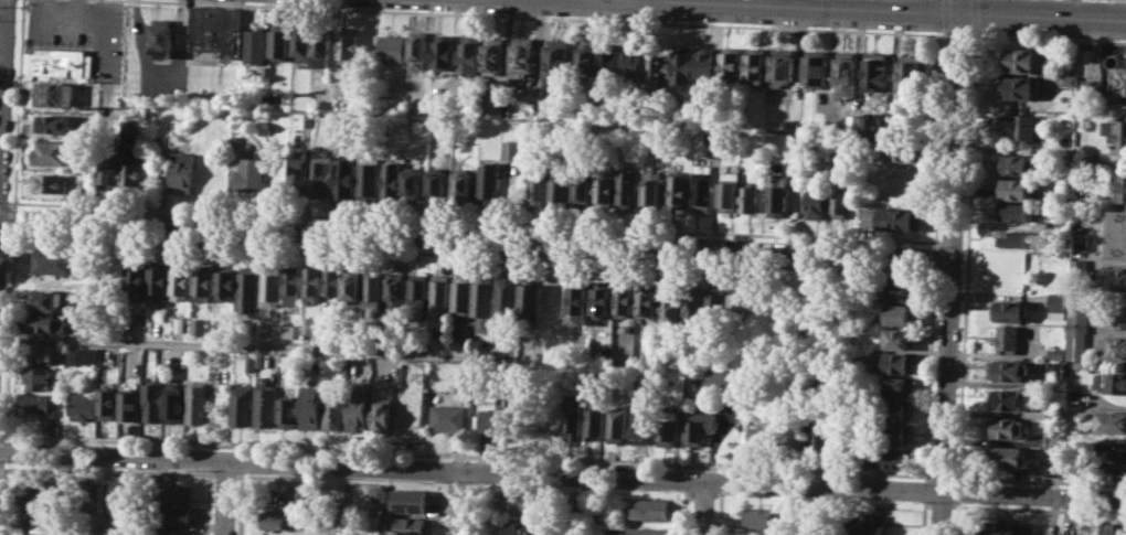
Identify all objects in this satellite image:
road: (786, 3)
road: (959, 8)
road: (889, 11)
road: (944, 14)
road: (974, 14)
road: (549, 17)
parking lot: (62, 24)
building: (215, 29)
road: (962, 34)
building: (111, 35)
building: (161, 36)
road: (1050, 38)
building: (279, 40)
building: (300, 43)
building: (253, 44)
building: (321, 44)
building: (346, 44)
building: (390, 49)
building: (417, 49)
building: (444, 50)
building: (469, 54)
building: (495, 55)
building: (523, 56)
building: (587, 58)
building: (1021, 58)
building: (610, 60)
building: (559, 61)
building: (62, 62)
building: (635, 62)
building: (708, 63)
building: (732, 64)
building: (756, 64)
building: (784, 65)
road: (2, 66)
building: (684, 66)
building: (818, 68)
building: (660, 71)
building: (877, 72)
building: (910, 72)
building: (847, 73)
building: (99, 74)
building: (1070, 79)
building: (1123, 79)
building: (1020, 86)
road: (3, 87)
building: (1094, 88)
building: (56, 94)
building: (425, 107)
building: (492, 107)
building: (550, 110)
building: (305, 120)
building: (853, 124)
building: (56, 125)
building: (871, 125)
building: (1021, 127)
building: (1117, 133)
building: (235, 139)
road: (938, 139)
building: (511, 149)
building: (904, 151)
building: (55, 153)
building: (1087, 163)
building: (131, 164)
building: (1017, 164)
building: (297, 170)
building: (180, 171)
building: (108, 173)
building: (248, 173)
building: (320, 175)
building: (344, 176)
building: (368, 178)
building: (392, 180)
building: (488, 181)
building: (560, 182)
building: (55, 183)
building: (413, 183)
building: (437, 183)
building: (461, 184)
building: (900, 184)
building: (583, 185)
building: (537, 186)
building: (605, 186)
building: (703, 186)
building: (1120, 188)
building: (627, 189)
building: (654, 190)
building: (1019, 190)
building: (679, 191)
building: (730, 191)
building: (1087, 192)
building: (777, 193)
building: (750, 196)
building: (840, 199)
road: (2, 202)
building: (816, 202)
building: (1013, 212)
building: (899, 218)
road: (469, 222)
road: (2, 233)
building: (1118, 234)
road: (476, 235)
building: (1013, 238)
building: (900, 255)
road: (966, 256)
road: (572, 258)
road: (934, 258)
building: (52, 261)
road: (934, 271)
road: (952, 275)
building: (115, 278)
building: (136, 278)
building: (1112, 278)
building: (159, 279)
building: (182, 280)
building: (332, 281)
building: (204, 282)
building: (291, 283)
building: (312, 283)
building: (226, 285)
building: (270, 286)
building: (352, 286)
building: (248, 288)
building: (373, 290)
building: (899, 290)
building: (417, 292)
building: (463, 293)
building: (394, 295)
building: (554, 295)
building: (508, 296)
building: (439, 297)
building: (531, 297)
building: (45, 299)
building: (604, 299)
building: (485, 300)
building: (625, 300)
building: (647, 300)
building: (578, 302)
building: (693, 302)
building: (671, 304)
building: (716, 304)
building: (737, 304)
building: (1058, 306)
building: (1009, 310)
building: (900, 313)
building: (1080, 317)
building: (1118, 317)
building: (45, 321)
building: (83, 321)
building: (199, 325)
building: (311, 325)
building: (264, 328)
building: (289, 331)
building: (466, 335)
building: (899, 338)
building: (1008, 339)
road: (254, 345)
building: (1113, 345)
building: (1079, 346)
building: (43, 352)
building: (1056, 353)
building: (88, 355)
building: (249, 362)
building: (261, 362)
building: (900, 363)
building: (1009, 368)
building: (1058, 368)
building: (274, 372)
building: (38, 376)
building: (720, 382)
building: (1114, 382)
building: (899, 386)
building: (155, 398)
building: (1009, 398)
building: (198, 402)
building: (40, 403)
building: (176, 403)
building: (266, 403)
building: (109, 404)
building: (242, 404)
building: (130, 405)
building: (84, 406)
building: (310, 407)
building: (334, 409)
building: (359, 409)
building: (897, 410)
building: (288, 411)
building: (382, 414)
building: (573, 416)
building: (447, 417)
building: (496, 419)
building: (595, 421)
building: (618, 421)
building: (1111, 421)
building: (641, 422)
building: (668, 426)
building: (699, 426)
building: (1008, 428)
building: (896, 434)
building: (797, 438)
building: (820, 438)
building: (764, 439)
building: (1054, 440)
road: (240, 448)
road: (465, 456)
building: (1108, 456)
building: (868, 457)
building: (896, 457)
building: (1010, 457)
road: (240, 460)
building: (1052, 469)
road: (149, 471)
road: (562, 473)
road: (224, 474)
road: (942, 475)
road: (285, 477)
road: (1039, 481)
road: (464, 484)
building: (41, 486)
road: (1, 489)
road: (924, 490)
road: (957, 490)
road: (106, 493)
building: (177, 493)
building: (91, 494)
road: (703, 494)
road: (226, 496)
building: (407, 499)
building: (124, 500)
building: (519, 500)
road: (240, 502)
road: (464, 502)
road: (206, 504)
road: (927, 504)
road: (941, 504)
road: (701, 506)
road: (448, 507)
road: (478, 507)
building: (648, 509)
road: (1038, 509)
road: (683, 510)
road: (820, 510)
building: (40, 514)
road: (713, 514)
building: (172, 515)
road: (923, 516)
road: (956, 516)
building: (277, 520)
building: (762, 520)
building: (868, 523)
building: (89, 526)
building: (410, 526)
building: (518, 527)
building: (1002, 527)
building: (1114, 528)
building: (649, 529)
building: (174, 533)
building: (1051, 533)
building: (1061, 534)
building: (1067, 534)

